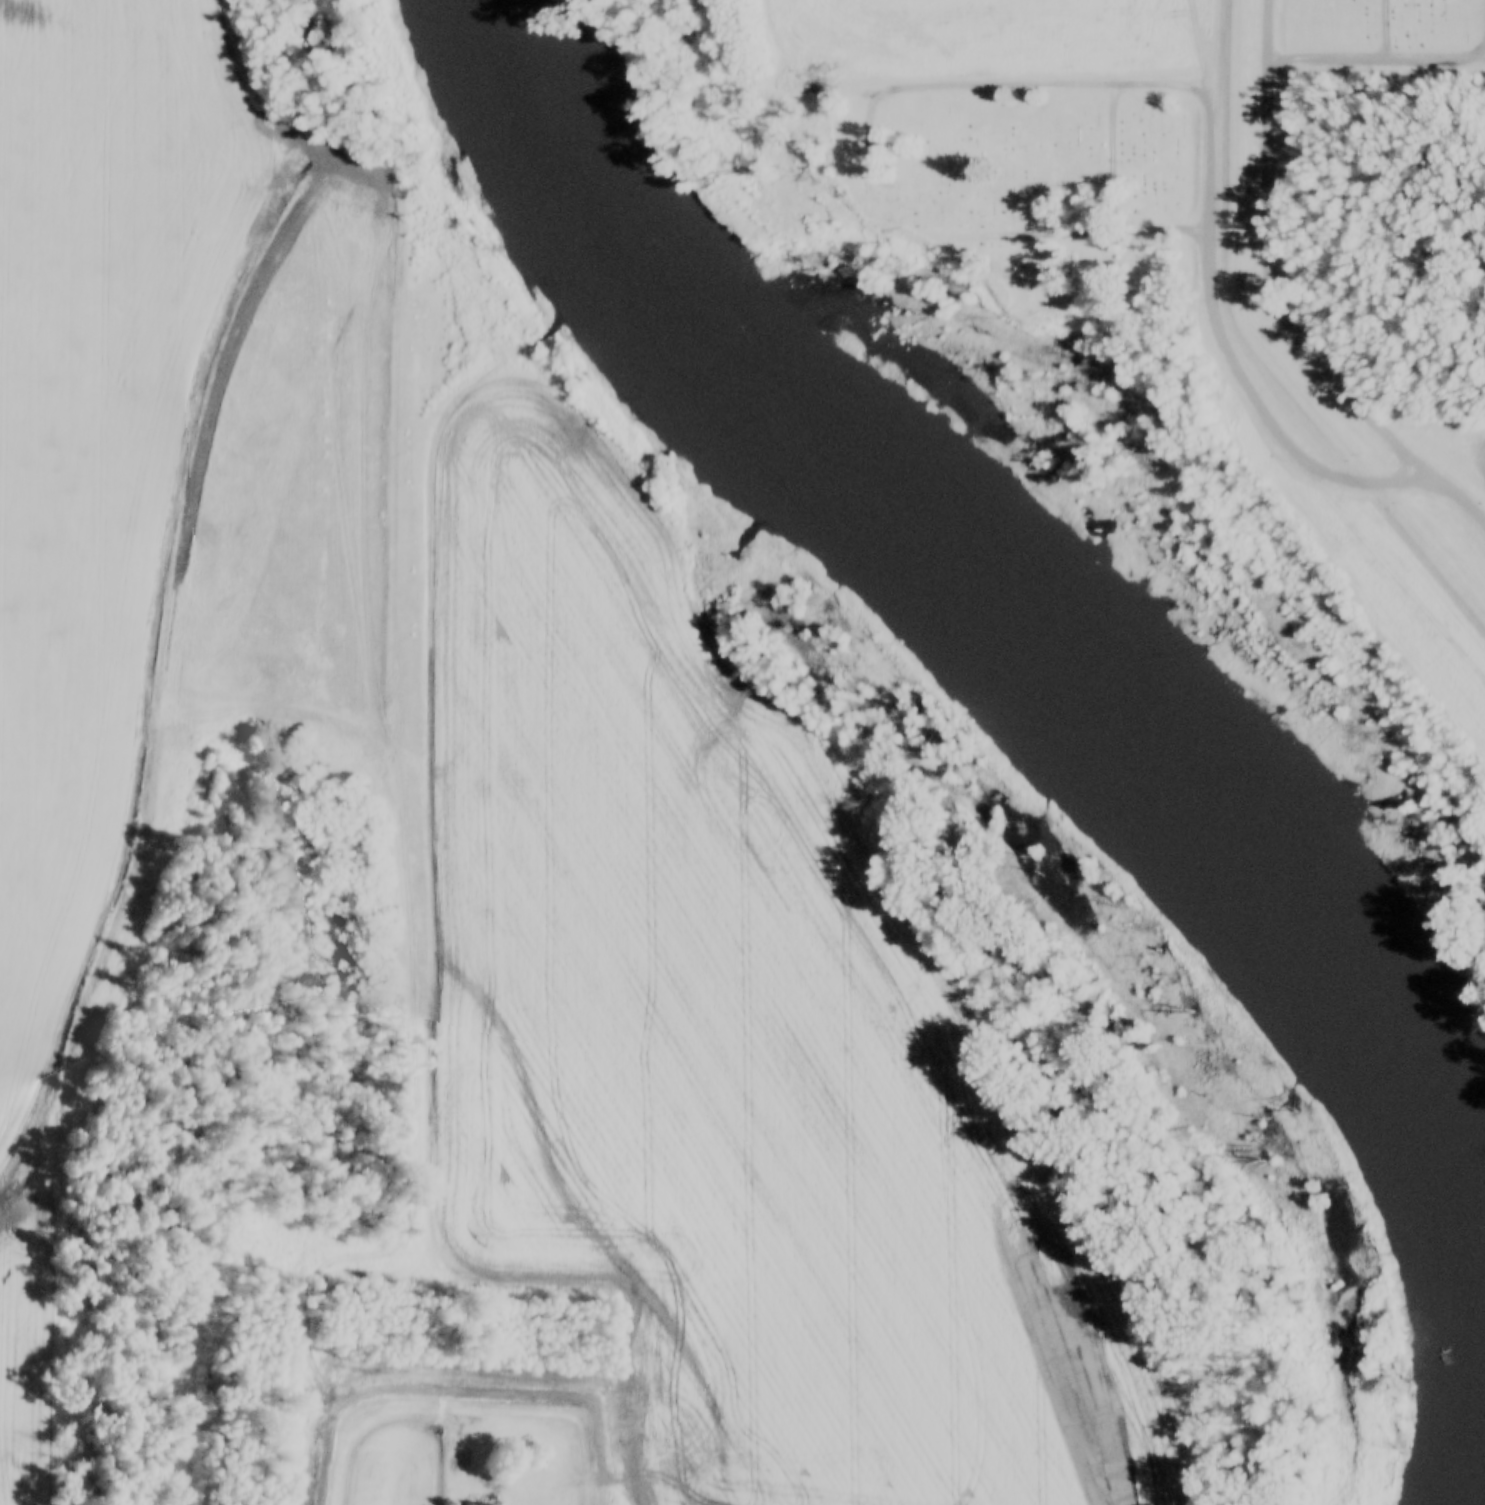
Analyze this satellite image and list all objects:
park: (1378, 37)
road: (1207, 148)
park: (1036, 161)
road: (1266, 315)
river: (1001, 631)

